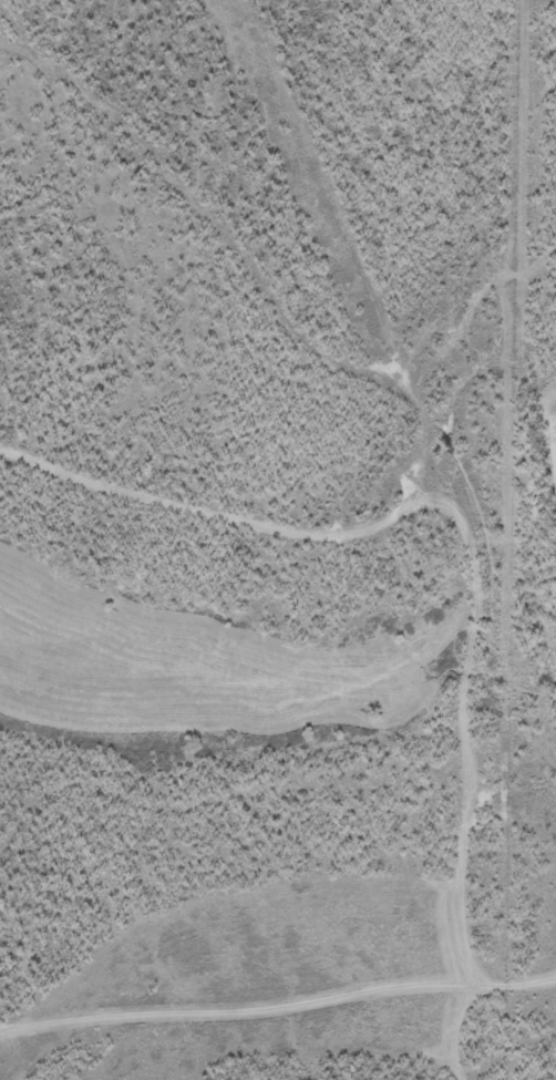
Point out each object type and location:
road: (0, 2)

